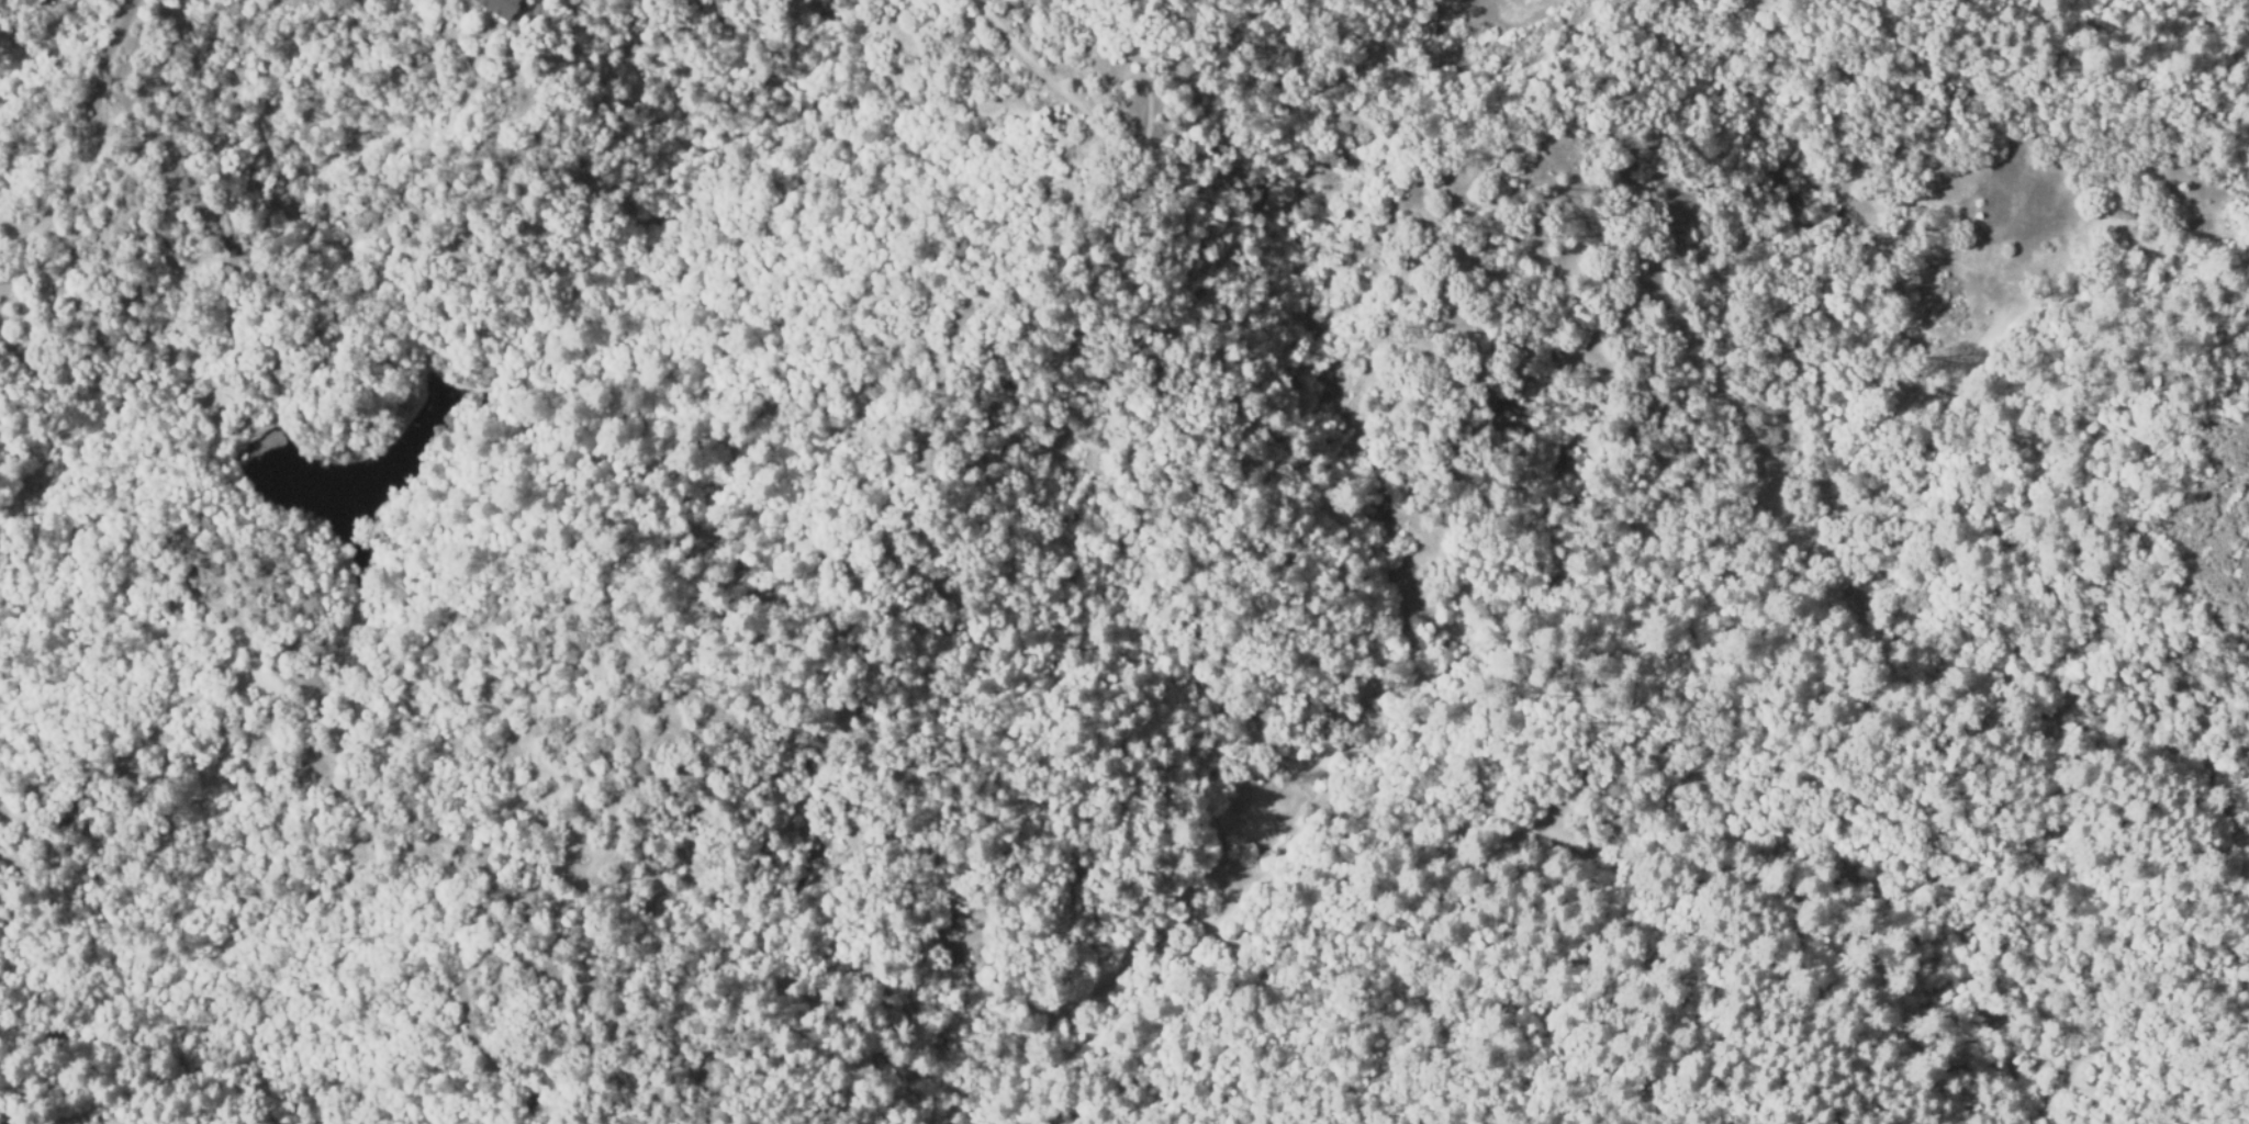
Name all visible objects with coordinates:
building: (500, 8)

